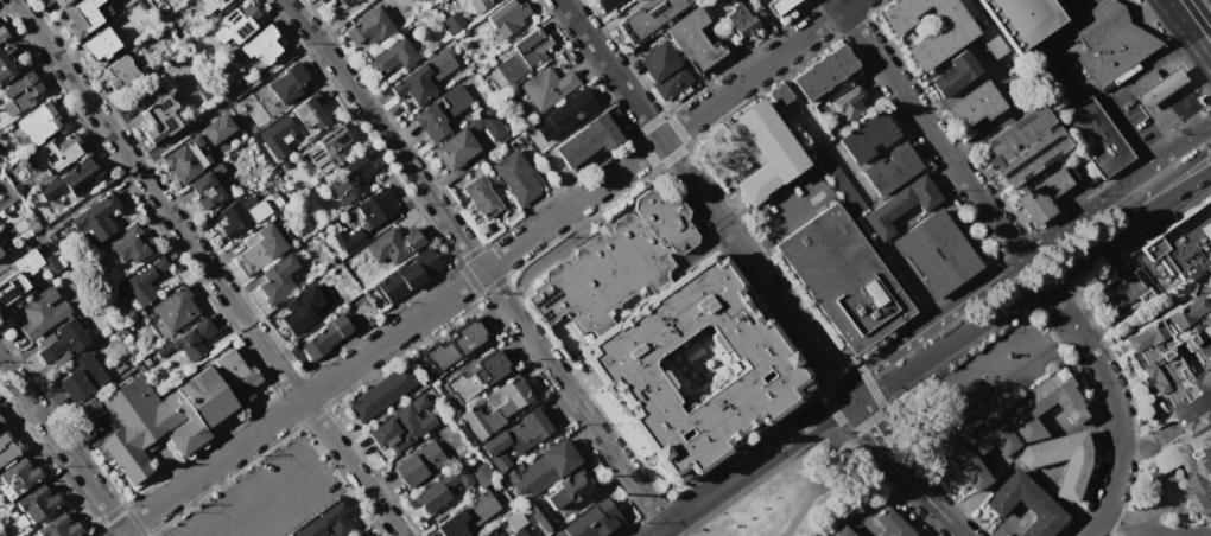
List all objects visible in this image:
building: (56, 4)
building: (608, 4)
building: (211, 5)
building: (332, 5)
building: (776, 7)
building: (462, 13)
building: (84, 17)
building: (508, 18)
building: (646, 19)
building: (1019, 19)
road: (1175, 19)
building: (740, 21)
building: (236, 25)
building: (367, 30)
road: (1047, 33)
building: (1, 34)
building: (1107, 40)
building: (693, 43)
building: (937, 44)
building: (100, 45)
building: (264, 47)
road: (1200, 52)
building: (522, 55)
building: (391, 59)
building: (8, 63)
road: (1148, 66)
road: (610, 69)
road: (756, 69)
building: (661, 71)
building: (822, 74)
building: (119, 75)
building: (950, 76)
building: (287, 83)
building: (549, 83)
road: (1193, 83)
building: (1159, 87)
gas station: (1159, 87)
building: (412, 88)
building: (21, 91)
building: (778, 97)
road: (1207, 102)
road: (908, 104)
building: (849, 106)
building: (236, 107)
road: (1207, 109)
building: (971, 110)
road: (1187, 113)
building: (442, 114)
building: (154, 115)
building: (309, 116)
building: (562, 116)
road: (1154, 117)
road: (1123, 120)
road: (1205, 125)
building: (38, 126)
building: (251, 126)
building: (487, 127)
building: (204, 128)
building: (1093, 136)
road: (1187, 138)
building: (867, 139)
building: (584, 145)
building: (328, 147)
building: (1021, 148)
building: (455, 149)
road: (1147, 152)
road: (1165, 154)
building: (52, 155)
building: (765, 159)
building: (183, 162)
building: (889, 171)
building: (516, 177)
building: (71, 179)
building: (348, 180)
building: (837, 181)
building: (1059, 190)
building: (203, 191)
road: (1177, 191)
building: (480, 197)
building: (1032, 206)
building: (245, 210)
building: (375, 210)
road: (787, 210)
building: (900, 210)
building: (95, 218)
road: (728, 231)
road: (1001, 232)
building: (348, 238)
road: (746, 238)
building: (391, 244)
building: (255, 249)
building: (129, 251)
building: (0, 253)
building: (931, 257)
road: (475, 260)
building: (1156, 261)
building: (26, 263)
building: (51, 264)
road: (207, 268)
road: (996, 274)
building: (405, 276)
building: (1206, 279)
building: (277, 280)
building: (842, 281)
building: (140, 282)
building: (11, 291)
building: (173, 310)
road: (994, 312)
building: (39, 313)
building: (294, 314)
building: (545, 325)
building: (324, 337)
road: (387, 337)
building: (188, 340)
building: (668, 340)
building: (63, 342)
building: (452, 345)
road: (812, 349)
building: (1169, 353)
traffic signals: (868, 369)
traffic signals: (828, 371)
building: (236, 372)
building: (476, 376)
building: (78, 378)
road: (975, 383)
road: (836, 384)
building: (381, 393)
road: (1111, 401)
building: (1044, 407)
traffic signals: (828, 408)
building: (87, 410)
building: (496, 410)
building: (159, 417)
road: (806, 421)
building: (0, 425)
building: (401, 425)
road: (867, 426)
traffic signals: (867, 426)
building: (518, 438)
road: (63, 447)
building: (6, 448)
road: (313, 452)
building: (977, 454)
building: (1194, 455)
building: (418, 462)
building: (540, 467)
road: (823, 467)
road: (289, 468)
building: (1076, 468)
building: (18, 474)
building: (481, 476)
road: (1166, 477)
building: (455, 479)
park: (792, 481)
road: (223, 486)
building: (563, 490)
road: (708, 491)
building: (431, 496)
parking lot: (264, 497)
road: (926, 498)
building: (36, 502)
building: (1023, 503)
building: (468, 516)
building: (533, 516)
building: (595, 518)
building: (513, 519)
building: (326, 522)
building: (888, 523)
building: (57, 525)
road: (1130, 527)
building: (841, 531)
building: (512, 534)
road: (1205, 534)
building: (360, 535)
building: (363, 535)
building: (914, 535)

